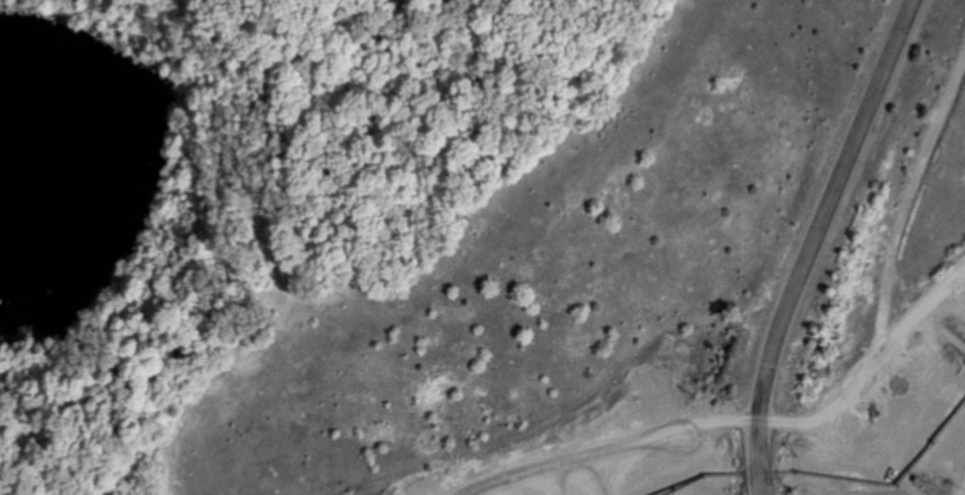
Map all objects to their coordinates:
road: (814, 241)
quarry: (579, 278)

